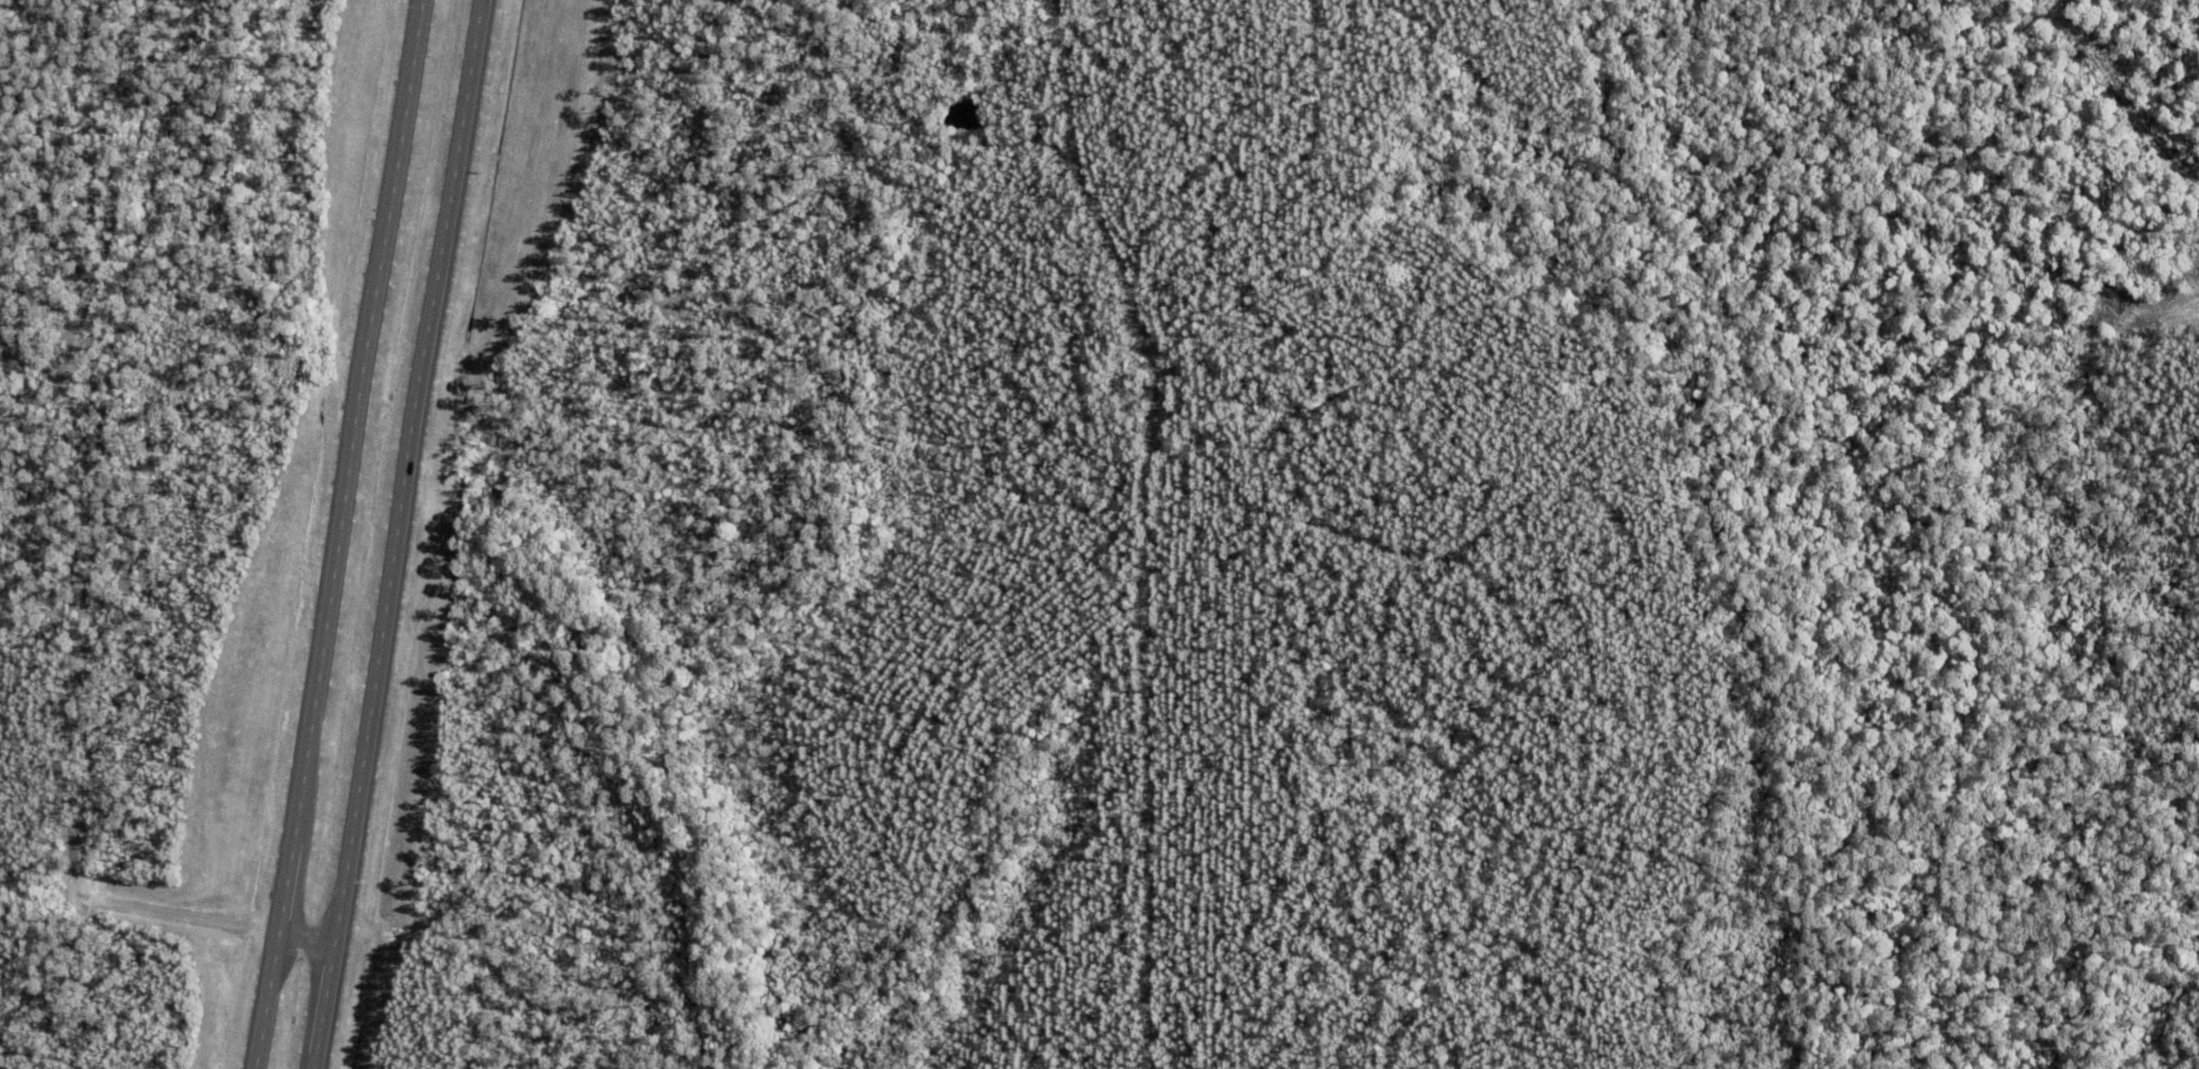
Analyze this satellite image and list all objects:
road: (1152, 526)
road: (339, 534)
road: (400, 534)

